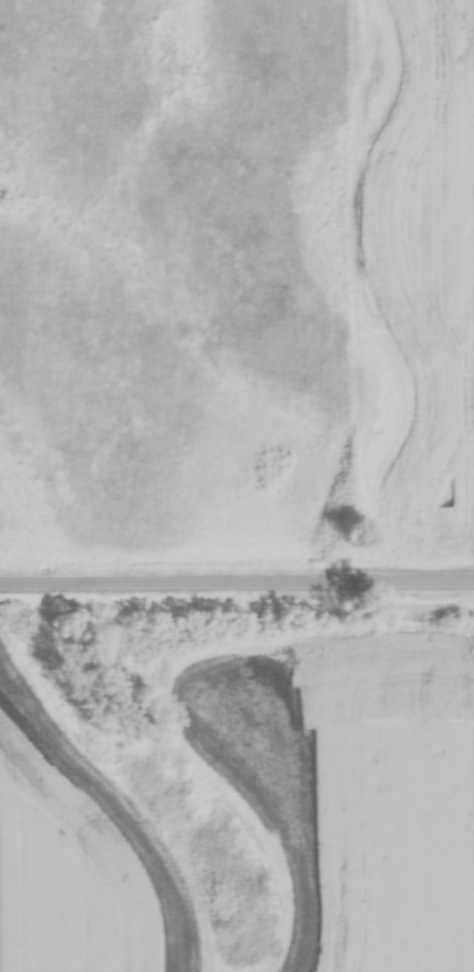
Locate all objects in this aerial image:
road: (237, 580)

